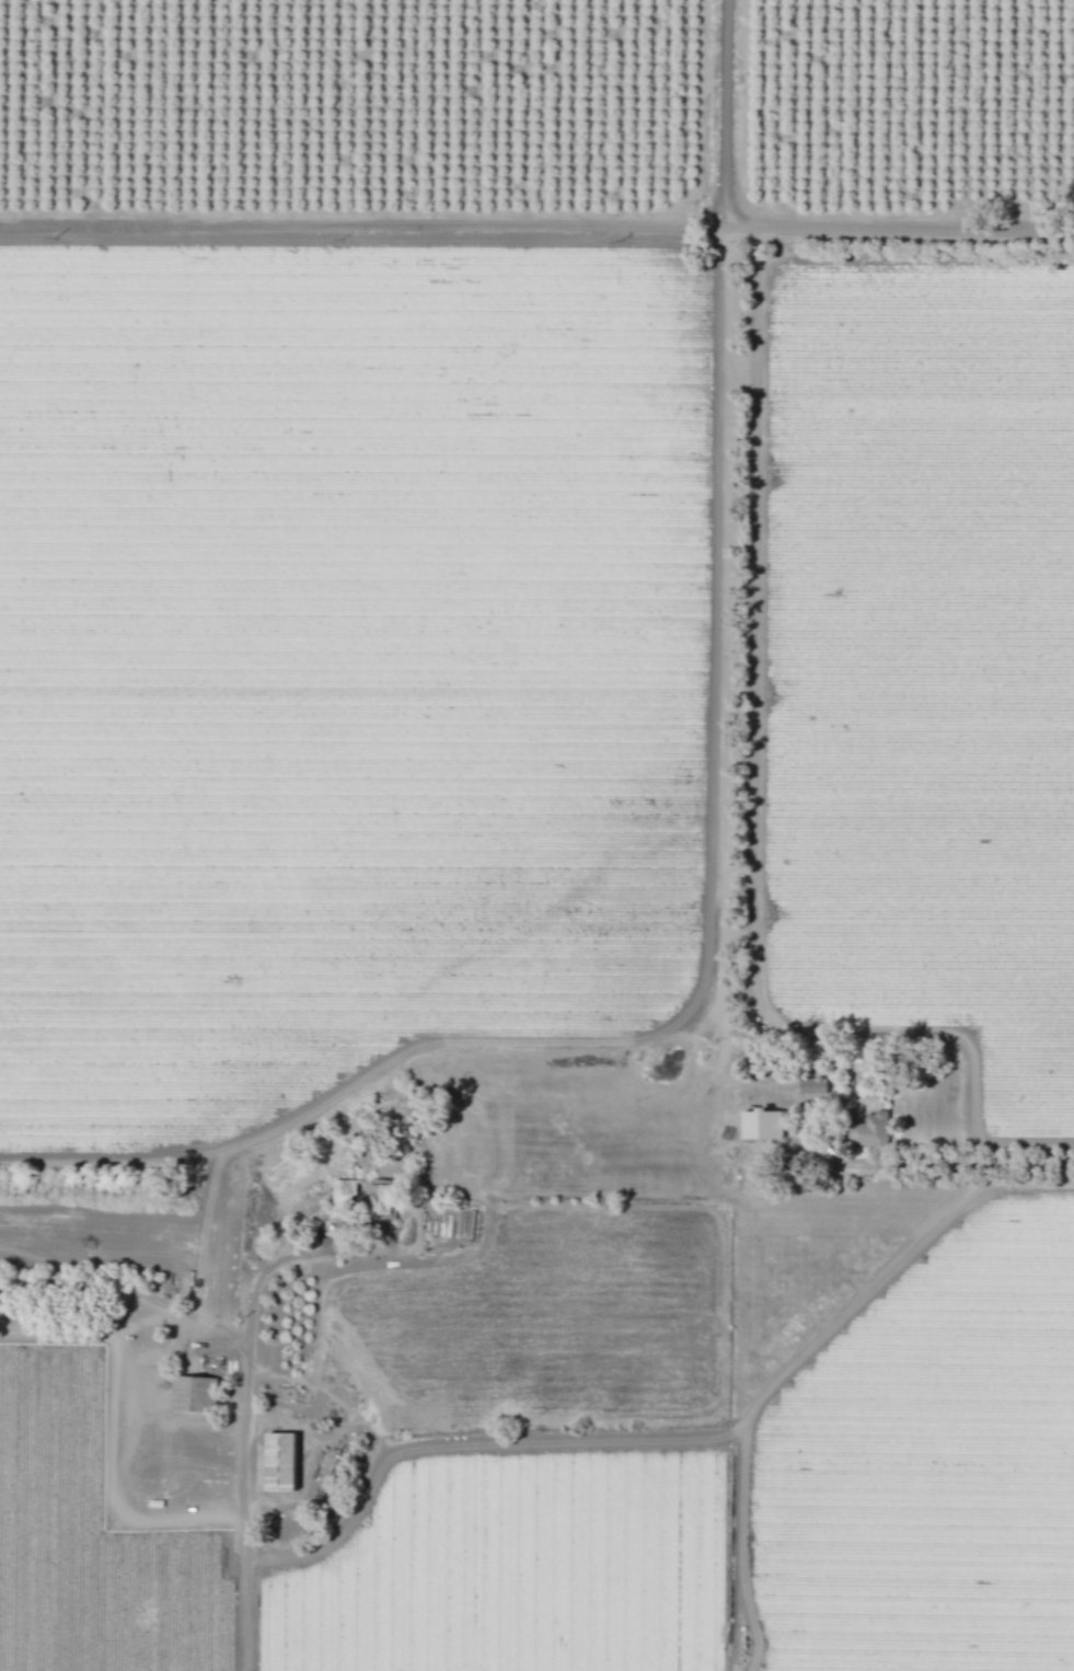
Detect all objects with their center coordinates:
road: (727, 116)
road: (536, 229)
building: (812, 1085)
building: (761, 1123)
building: (868, 1131)
road: (1019, 1182)
building: (343, 1192)
building: (381, 1199)
road: (296, 1256)
road: (128, 1291)
building: (193, 1394)
building: (280, 1462)
road: (245, 1508)

